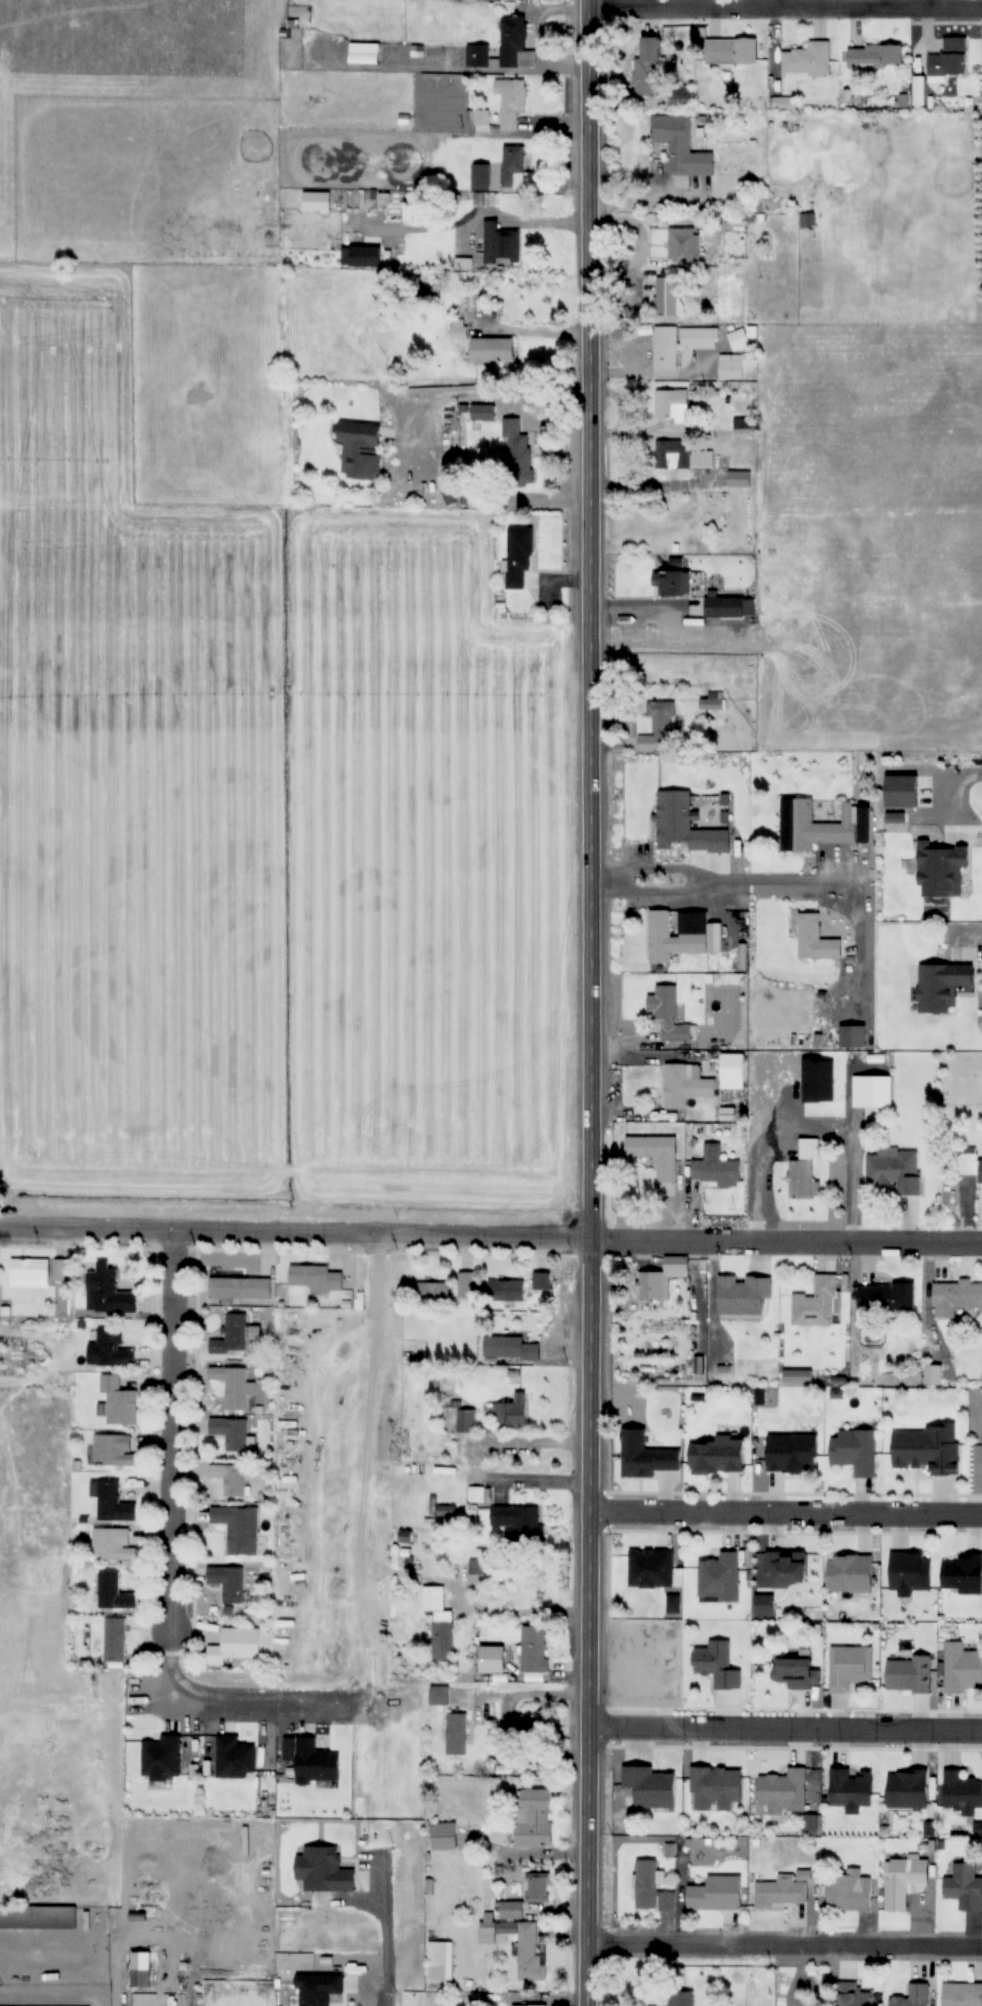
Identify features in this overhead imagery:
road: (777, 5)
building: (512, 46)
building: (731, 52)
building: (364, 53)
building: (877, 57)
building: (950, 58)
building: (650, 61)
building: (809, 61)
building: (511, 102)
building: (681, 147)
building: (516, 171)
building: (476, 180)
building: (808, 221)
building: (501, 244)
building: (684, 246)
building: (667, 297)
building: (739, 341)
building: (679, 348)
building: (492, 351)
building: (731, 367)
building: (673, 408)
building: (483, 413)
building: (743, 428)
building: (516, 448)
building: (361, 450)
building: (684, 456)
building: (740, 479)
crop: (862, 542)
building: (518, 557)
building: (672, 584)
building: (724, 608)
crop: (236, 696)
building: (713, 702)
building: (659, 729)
road: (952, 785)
building: (814, 826)
building: (942, 870)
road: (784, 885)
road: (635, 894)
building: (659, 937)
building: (816, 940)
building: (693, 944)
building: (940, 986)
road: (575, 1003)
building: (668, 1013)
building: (853, 1036)
road: (635, 1061)
building: (733, 1071)
building: (685, 1086)
building: (872, 1091)
building: (803, 1107)
building: (656, 1154)
building: (969, 1162)
building: (715, 1168)
building: (804, 1170)
building: (896, 1170)
road: (837, 1181)
road: (286, 1236)
road: (777, 1246)
building: (30, 1269)
building: (59, 1270)
building: (316, 1278)
building: (541, 1281)
building: (466, 1285)
building: (652, 1286)
building: (240, 1288)
building: (108, 1291)
building: (506, 1291)
building: (434, 1292)
building: (743, 1296)
building: (886, 1297)
building: (955, 1298)
building: (816, 1304)
building: (232, 1336)
building: (510, 1349)
building: (111, 1350)
building: (798, 1377)
building: (233, 1386)
building: (119, 1402)
building: (512, 1412)
building: (466, 1421)
road: (156, 1433)
building: (231, 1433)
building: (928, 1448)
building: (114, 1451)
building: (855, 1451)
building: (792, 1453)
building: (645, 1456)
building: (718, 1456)
building: (230, 1478)
building: (111, 1501)
road: (778, 1518)
building: (519, 1523)
building: (240, 1528)
building: (113, 1544)
building: (787, 1568)
building: (479, 1573)
building: (910, 1573)
building: (850, 1574)
building: (720, 1578)
building: (229, 1582)
building: (114, 1592)
building: (440, 1625)
building: (115, 1641)
building: (224, 1647)
building: (534, 1649)
building: (199, 1658)
building: (718, 1665)
building: (850, 1667)
building: (962, 1668)
building: (793, 1673)
building: (909, 1675)
building: (440, 1696)
road: (225, 1709)
road: (787, 1731)
building: (457, 1734)
building: (651, 1787)
building: (715, 1787)
building: (906, 1789)
building: (851, 1790)
building: (784, 1792)
building: (961, 1793)
building: (534, 1820)
building: (444, 1836)
building: (903, 1881)
building: (964, 1887)
building: (537, 1889)
building: (651, 1889)
building: (849, 1891)
building: (782, 1892)
building: (716, 1894)
building: (510, 1911)
building: (37, 1917)
road: (784, 1947)
building: (527, 1949)
building: (440, 1961)
building: (147, 1982)
building: (256, 1987)
road: (349, 1988)
building: (962, 1994)
building: (854, 1995)
building: (913, 1996)
building: (681, 1998)
building: (529, 2005)

